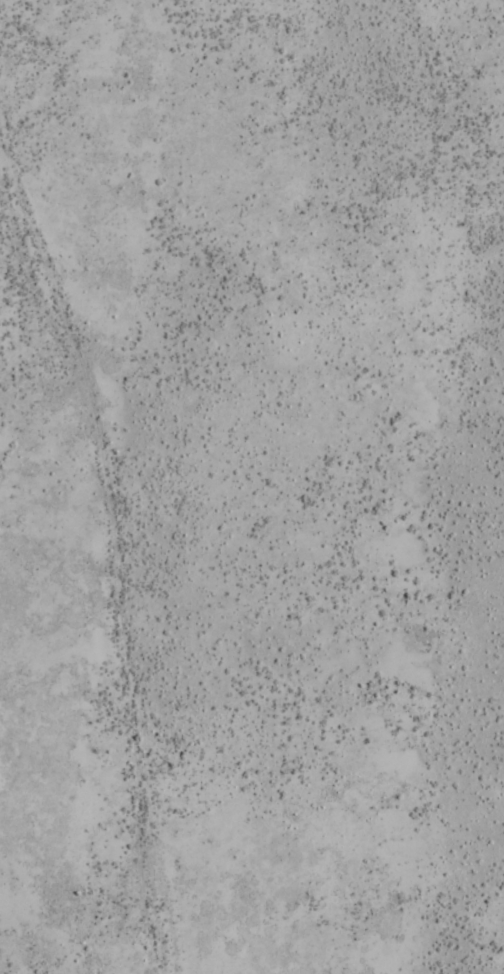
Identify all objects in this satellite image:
road: (113, 600)

